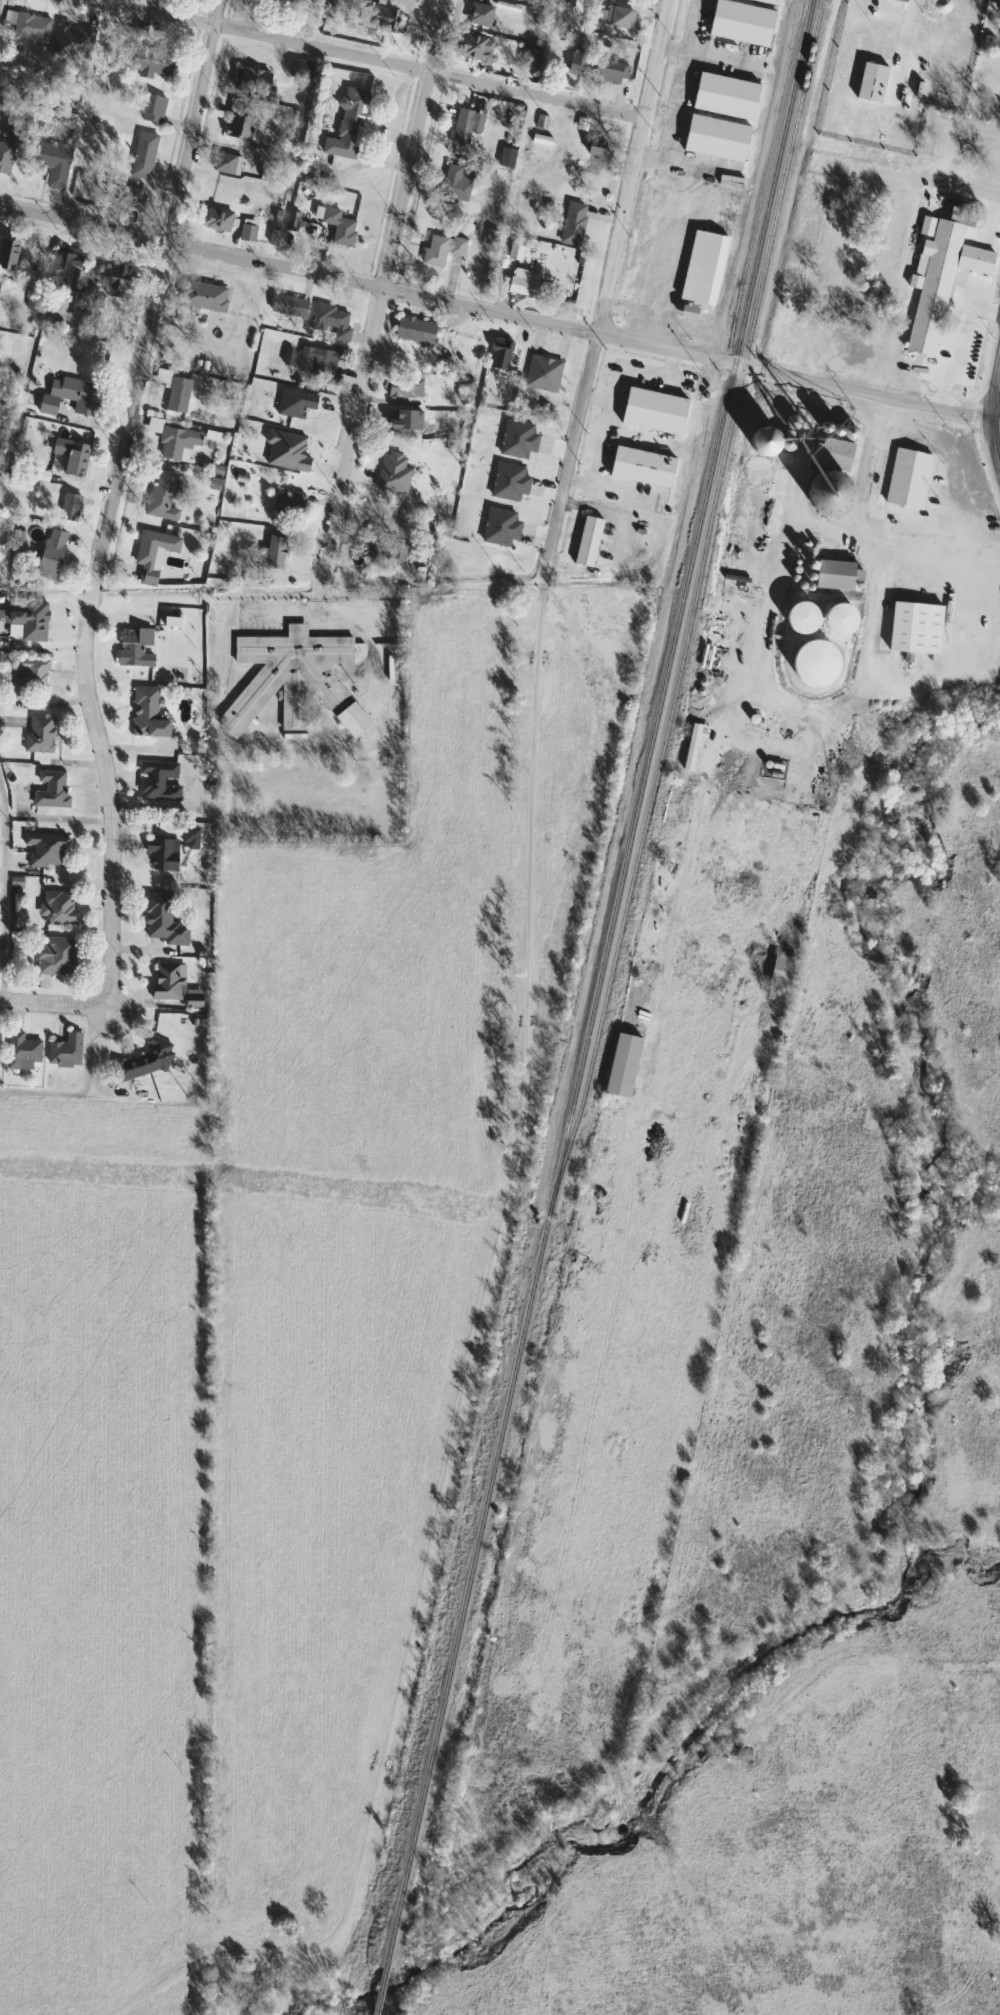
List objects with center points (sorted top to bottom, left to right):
building: (765, 2)
building: (377, 15)
building: (479, 16)
building: (617, 17)
building: (740, 23)
road: (696, 25)
building: (28, 27)
building: (960, 36)
building: (72, 41)
building: (860, 42)
building: (892, 47)
building: (475, 48)
building: (579, 55)
building: (527, 59)
road: (371, 60)
building: (154, 65)
building: (252, 81)
building: (871, 83)
building: (14, 89)
building: (724, 96)
road: (679, 107)
building: (151, 109)
building: (239, 120)
building: (347, 126)
building: (461, 129)
building: (716, 138)
building: (965, 146)
building: (7, 148)
building: (142, 152)
building: (925, 152)
building: (595, 154)
building: (226, 161)
building: (53, 164)
road: (911, 178)
building: (454, 184)
building: (128, 198)
building: (215, 220)
building: (291, 221)
building: (572, 224)
building: (337, 227)
building: (247, 233)
building: (441, 249)
building: (8, 253)
building: (703, 268)
building: (63, 271)
building: (942, 274)
building: (118, 281)
building: (522, 283)
road: (367, 285)
railway: (740, 291)
railway: (749, 292)
road: (380, 294)
building: (203, 296)
road: (968, 303)
road: (603, 305)
building: (288, 306)
building: (687, 313)
building: (331, 321)
building: (414, 330)
building: (500, 358)
building: (316, 362)
building: (543, 374)
building: (402, 387)
road: (867, 393)
building: (177, 395)
building: (71, 397)
building: (653, 411)
road: (992, 417)
building: (391, 420)
building: (762, 438)
building: (518, 439)
building: (175, 441)
building: (71, 456)
building: (641, 466)
building: (392, 473)
building: (829, 473)
road: (959, 473)
building: (907, 477)
building: (509, 482)
building: (161, 496)
road: (112, 501)
building: (288, 507)
building: (69, 508)
building: (500, 526)
building: (587, 541)
building: (384, 546)
building: (152, 547)
building: (51, 552)
building: (274, 552)
building: (836, 575)
road: (318, 601)
railway: (692, 605)
road: (316, 612)
building: (801, 617)
building: (839, 618)
building: (26, 625)
building: (914, 627)
building: (134, 647)
building: (814, 662)
building: (28, 677)
building: (292, 680)
building: (147, 713)
building: (39, 734)
building: (691, 747)
building: (158, 781)
building: (50, 789)
building: (44, 849)
building: (162, 854)
road: (4, 890)
building: (58, 908)
building: (163, 920)
building: (54, 957)
building: (783, 963)
building: (167, 982)
road: (53, 1005)
building: (21, 1051)
building: (64, 1051)
building: (144, 1062)
building: (621, 1065)
road: (79, 1087)
railway: (529, 1299)
road: (461, 1399)

